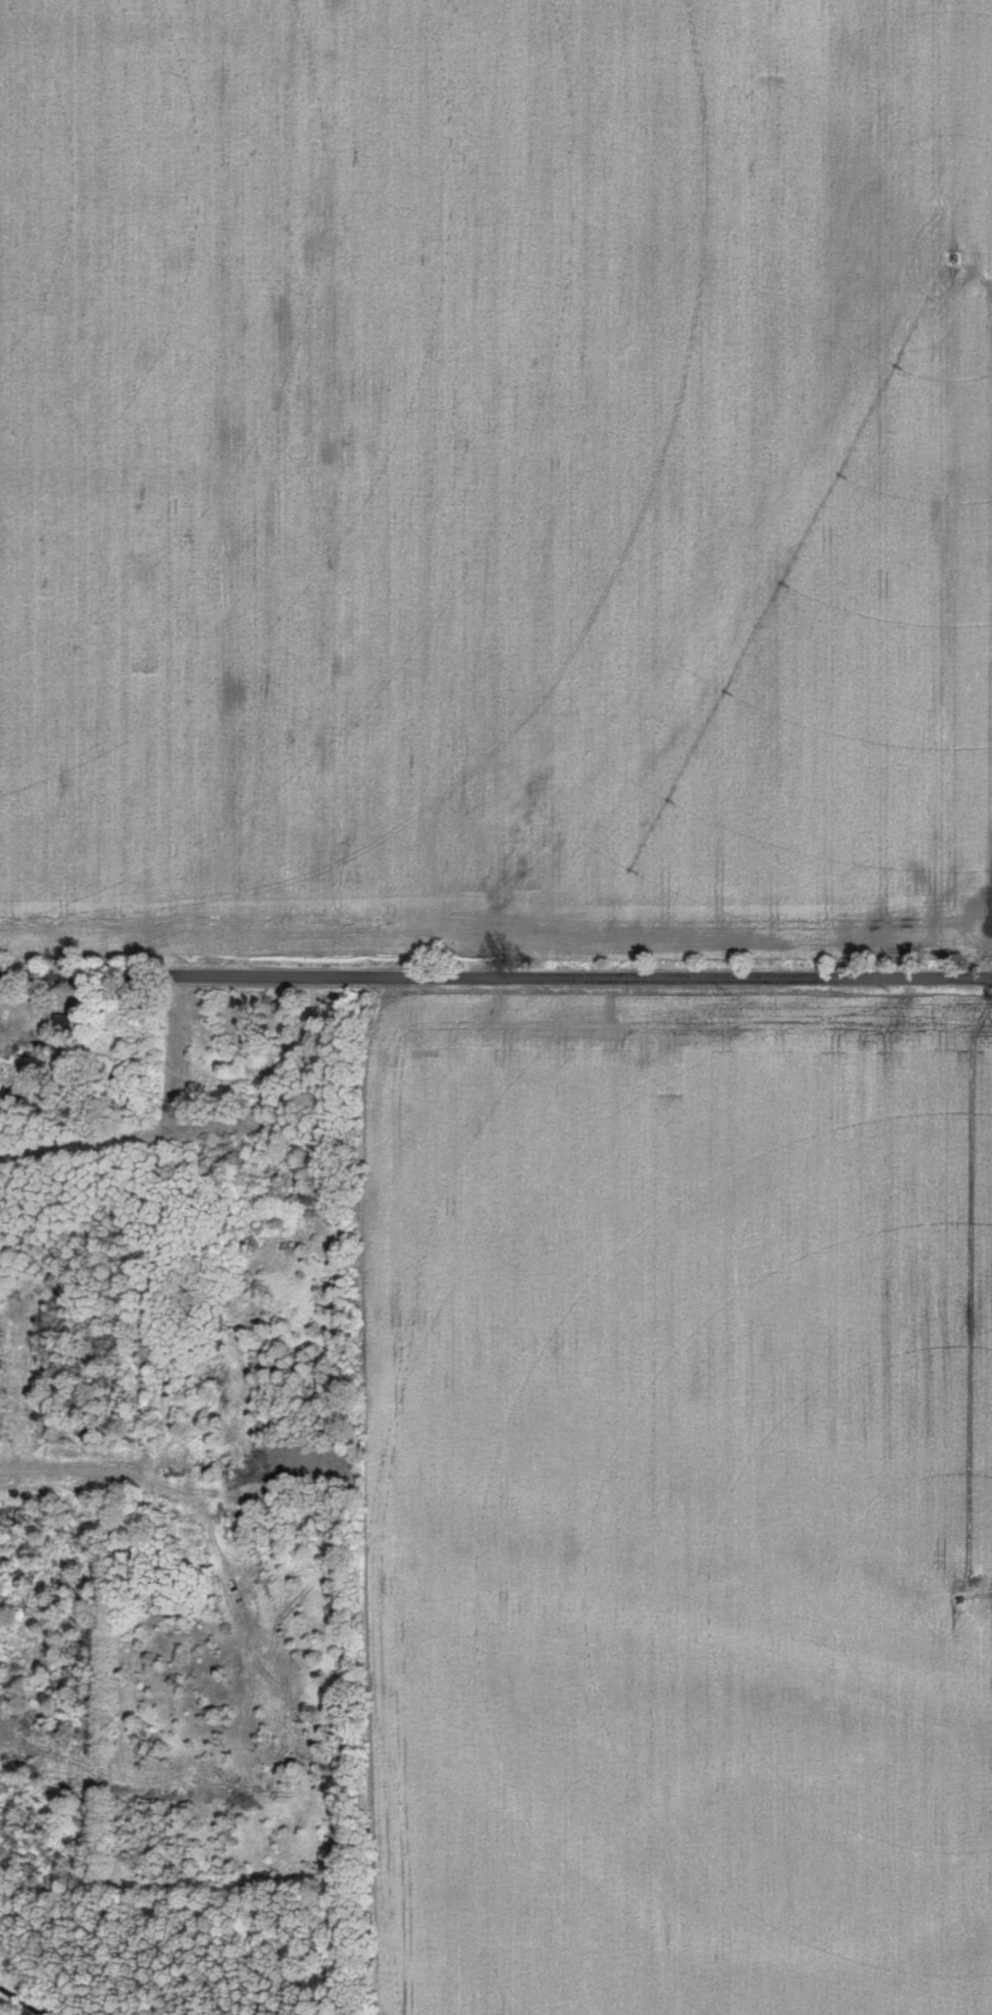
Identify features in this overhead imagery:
road: (496, 981)
building: (57, 1024)

